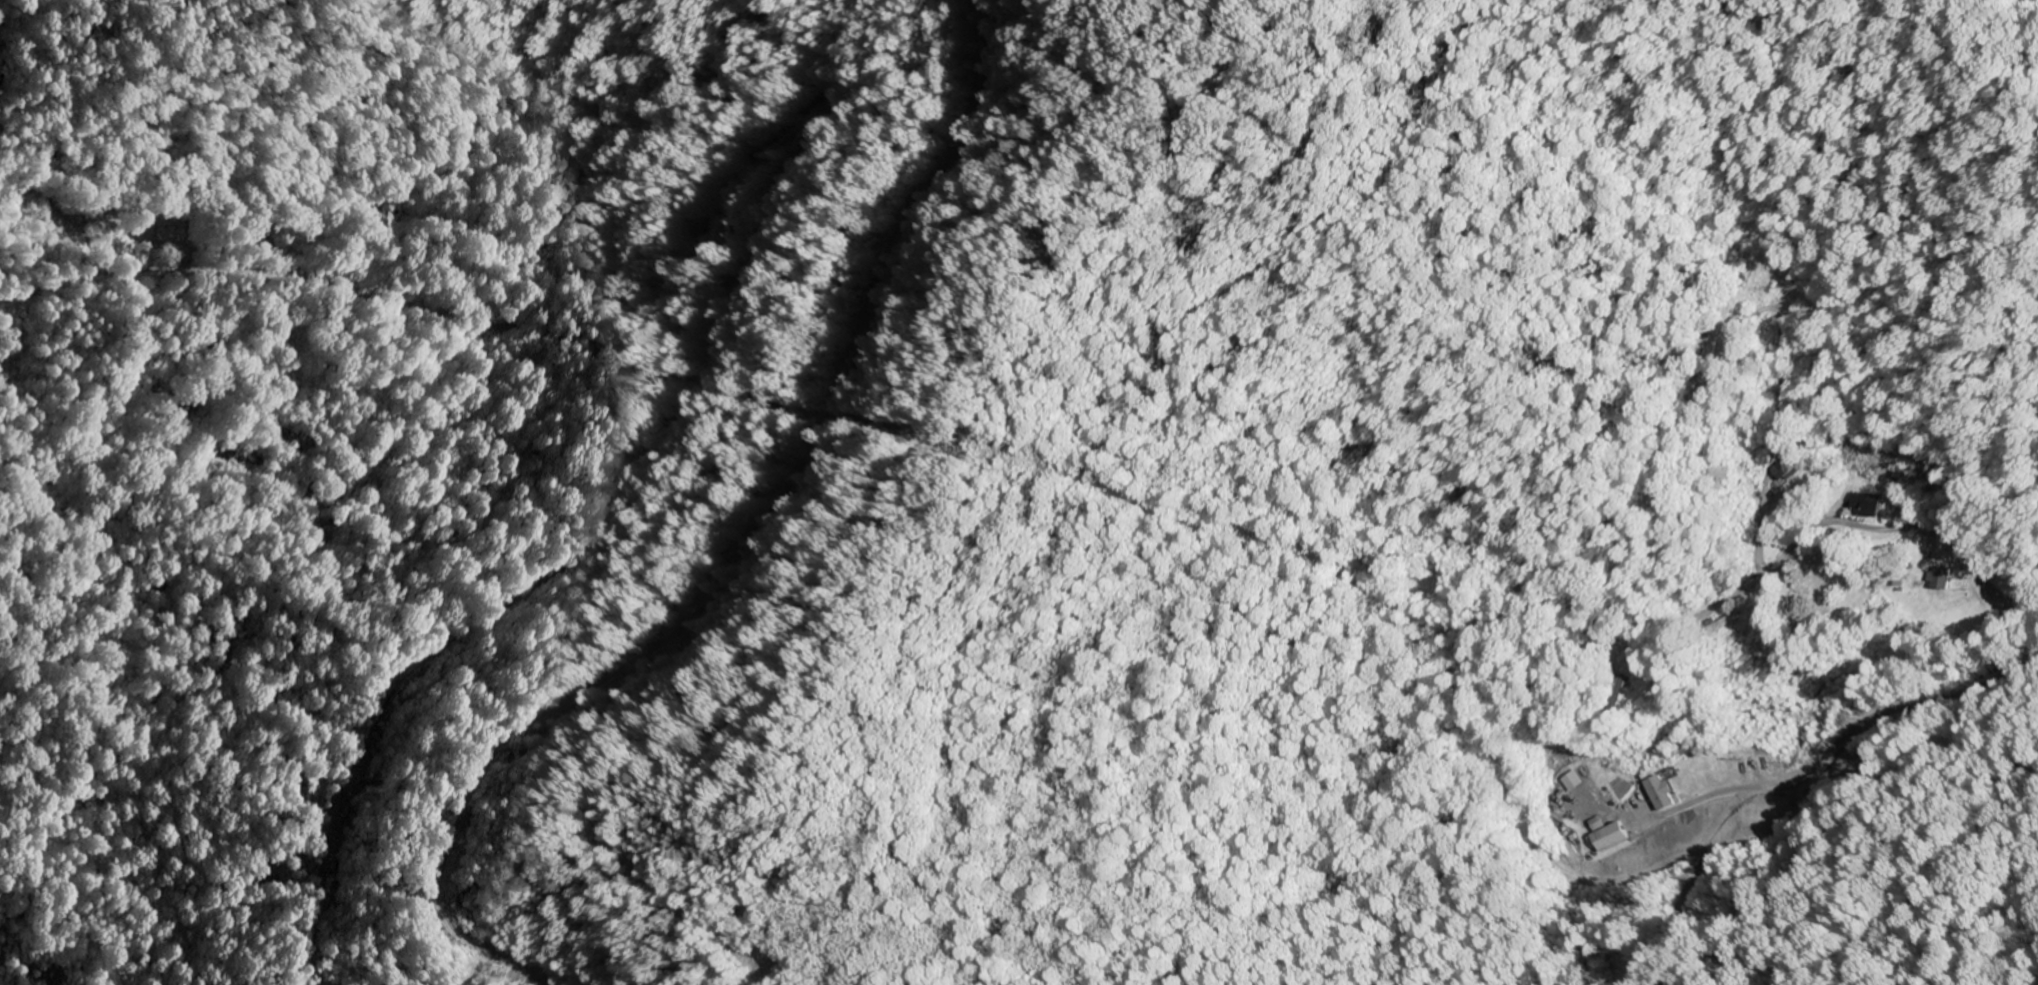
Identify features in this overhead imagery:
building: (1785, 466)
building: (1867, 504)
road: (1918, 527)
building: (1939, 579)
building: (1721, 624)
building: (1658, 793)
building: (1607, 838)

